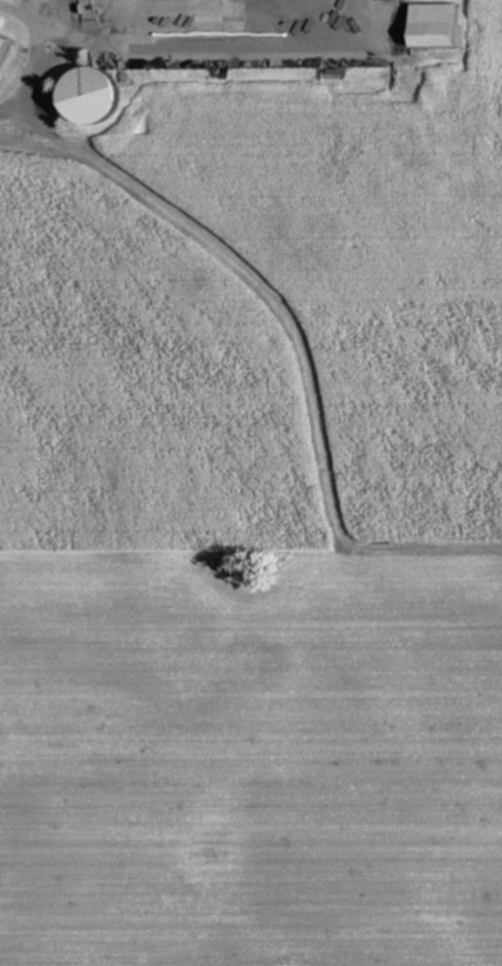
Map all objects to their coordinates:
building: (201, 7)
building: (432, 24)
building: (3, 42)
building: (91, 95)
building: (396, 154)

